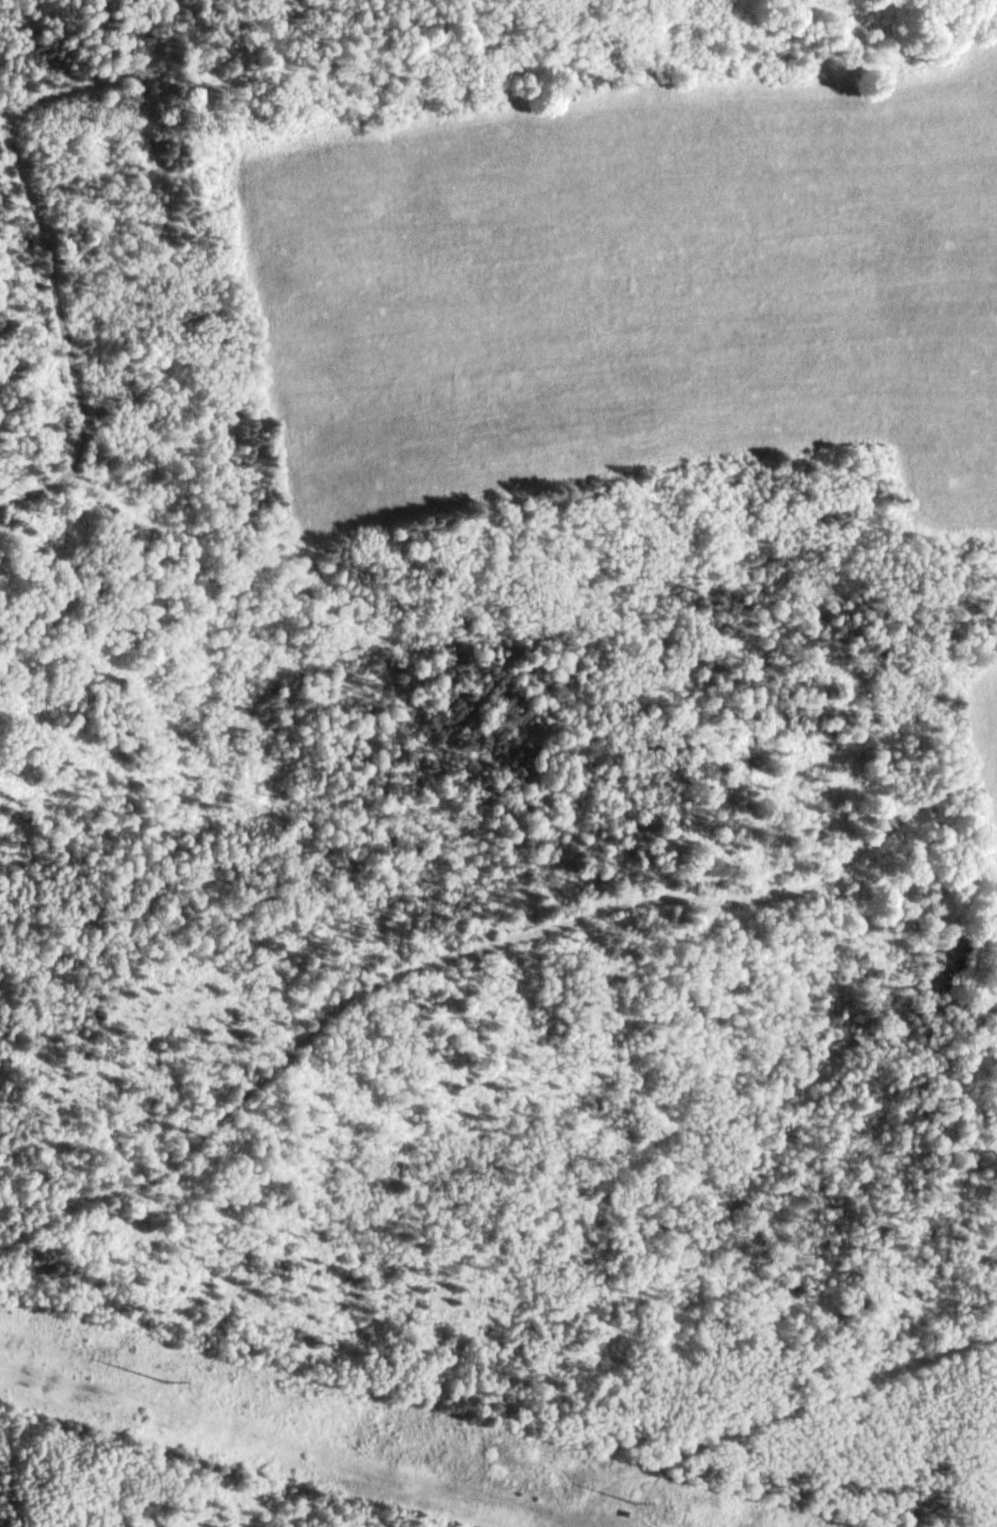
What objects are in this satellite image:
road: (47, 233)
power tower: (161, 1384)
power tower: (633, 1506)

